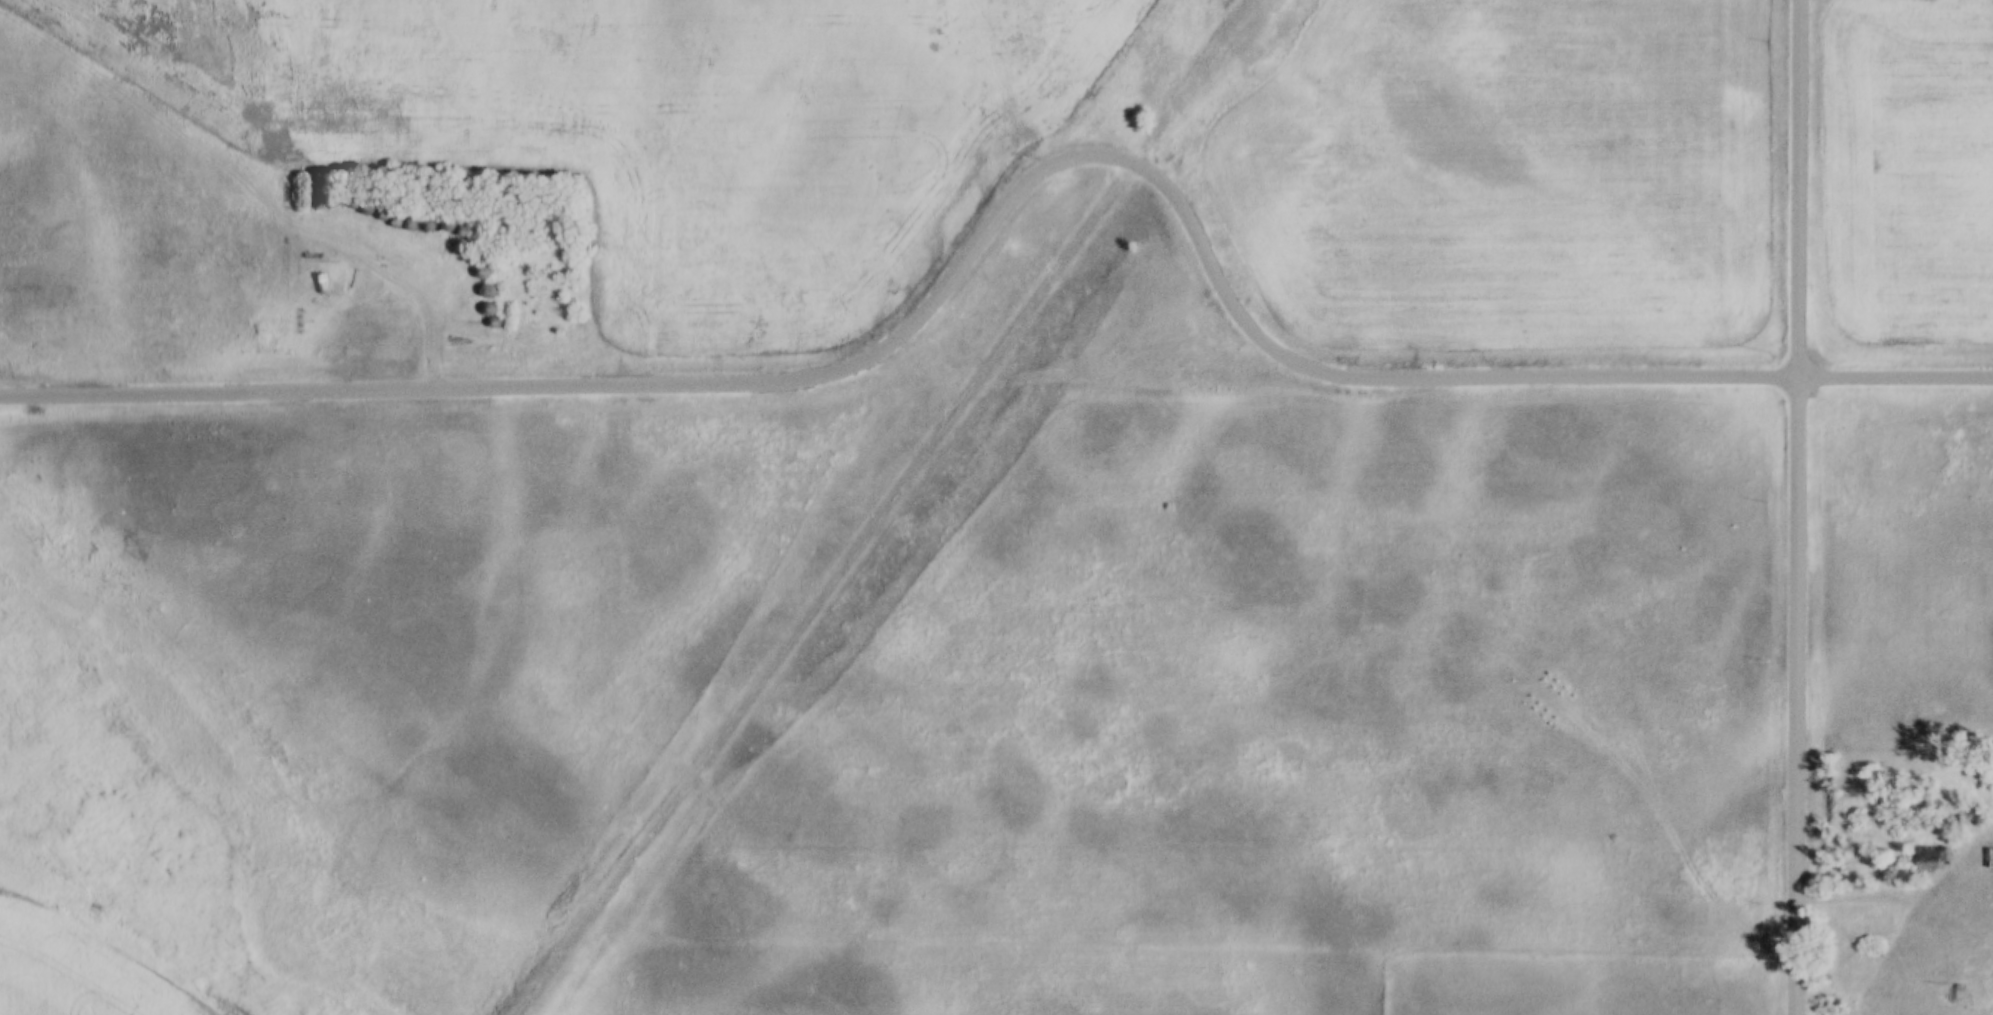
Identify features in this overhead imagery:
road: (1018, 187)
building: (447, 224)
building: (480, 272)
building: (320, 282)
building: (484, 289)
road: (1799, 507)
building: (1931, 855)
road: (1896, 891)
building: (1950, 992)

